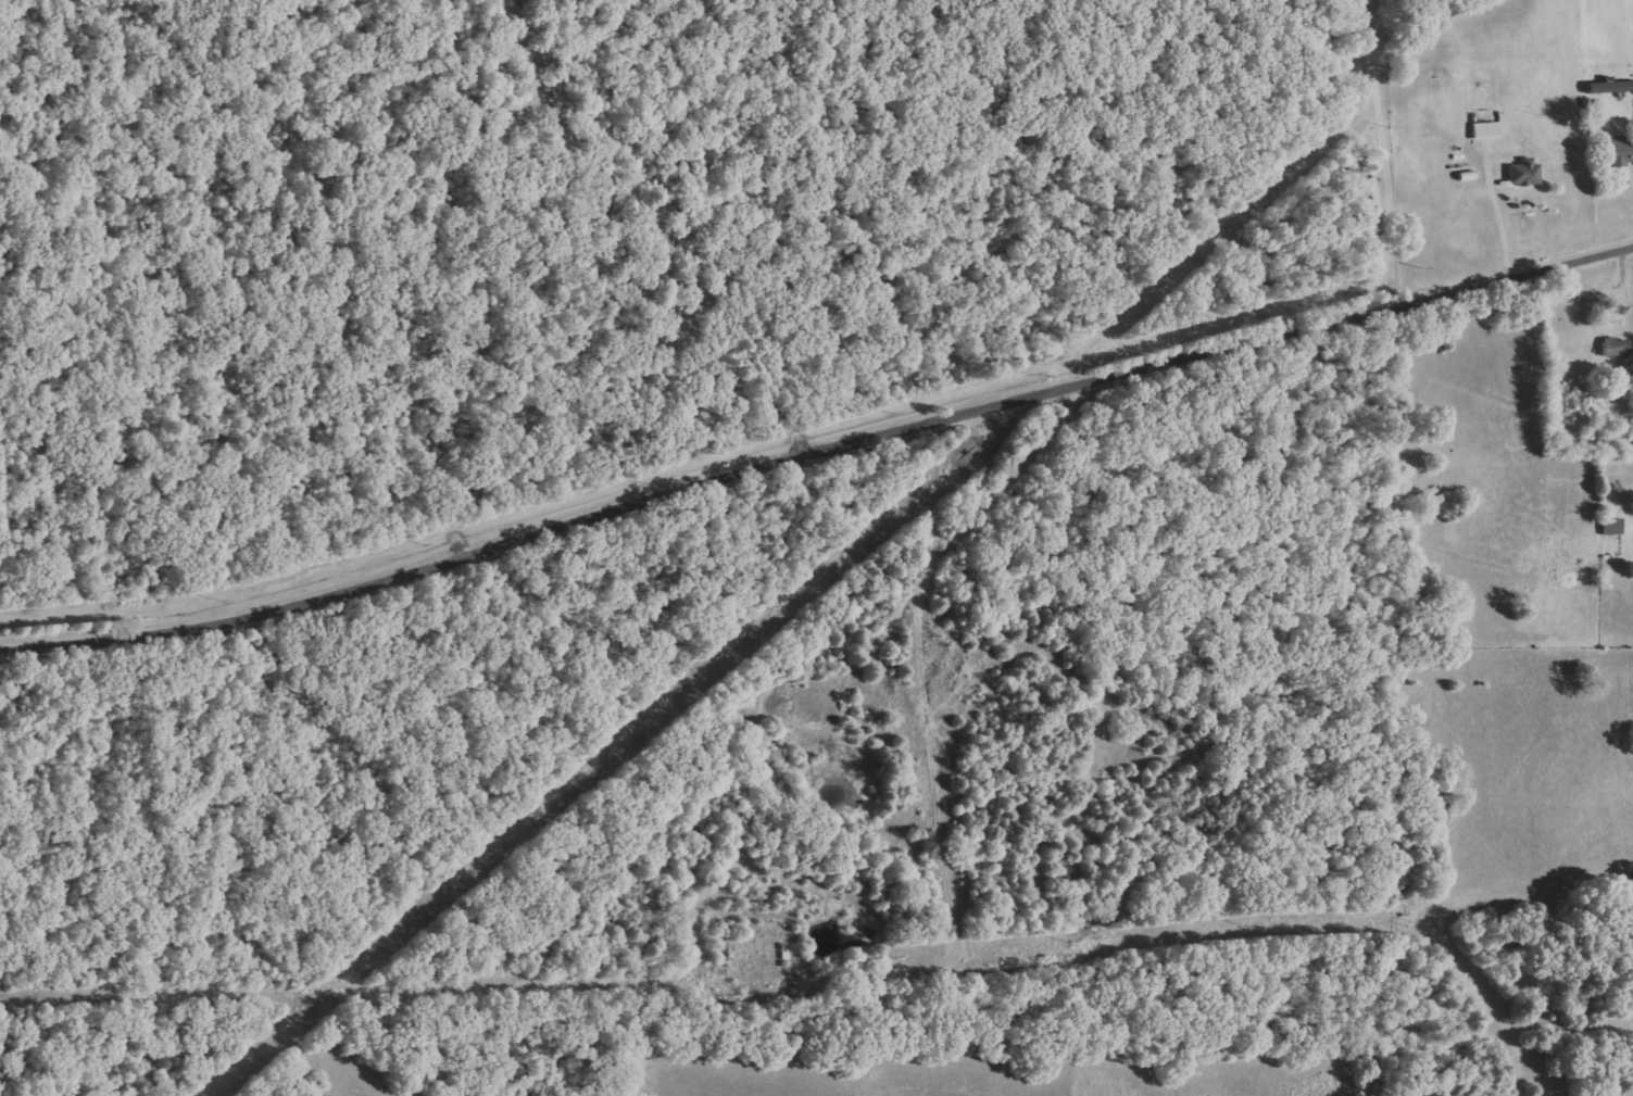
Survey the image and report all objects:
building: (1487, 130)
building: (1619, 151)
road: (1386, 153)
building: (1525, 172)
road: (649, 227)
building: (1617, 347)
road: (816, 454)
building: (1613, 526)

